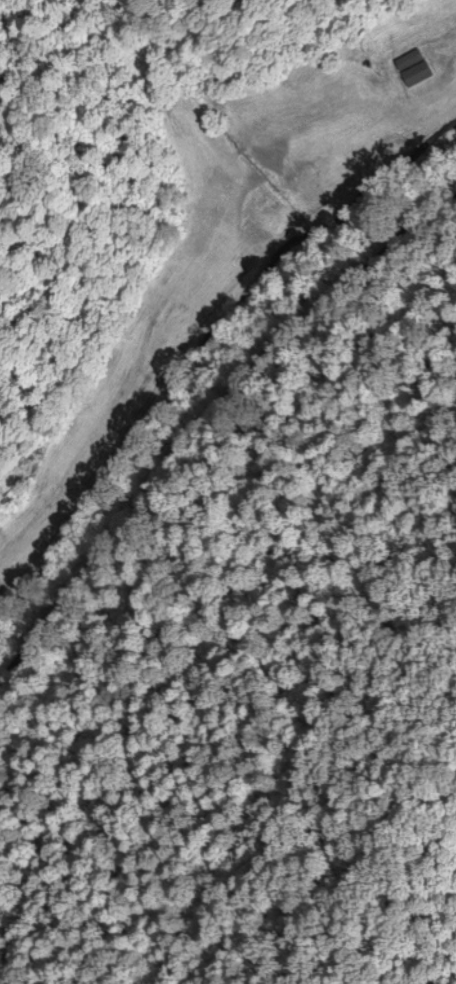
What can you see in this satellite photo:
road: (206, 478)

